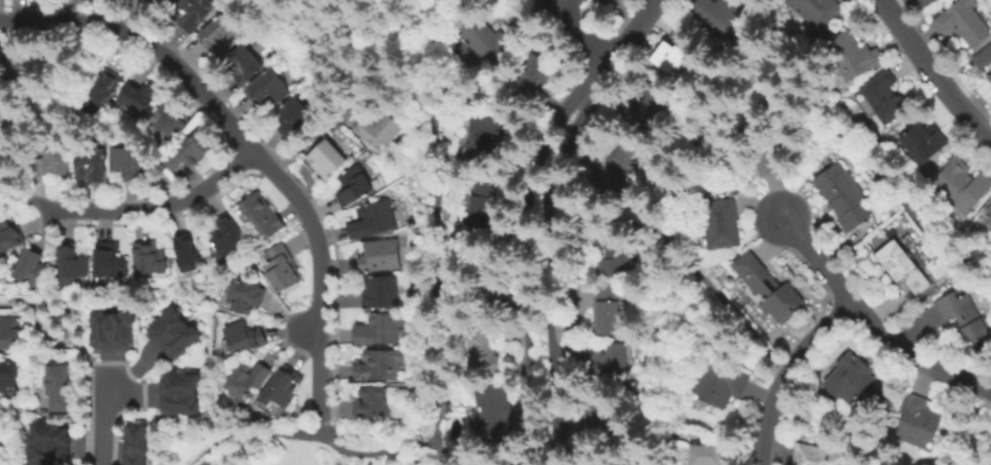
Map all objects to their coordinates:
building: (151, 1)
building: (169, 1)
building: (922, 2)
building: (816, 11)
building: (716, 12)
building: (197, 13)
building: (962, 22)
road: (579, 32)
building: (221, 34)
building: (478, 36)
building: (672, 48)
road: (615, 50)
building: (850, 56)
building: (982, 63)
building: (246, 64)
building: (19, 66)
road: (933, 71)
road: (741, 74)
building: (532, 77)
building: (270, 86)
building: (102, 91)
building: (141, 95)
building: (882, 97)
road: (349, 103)
building: (647, 104)
building: (4, 110)
building: (298, 116)
building: (168, 123)
building: (380, 129)
building: (486, 135)
building: (921, 142)
road: (250, 145)
building: (191, 152)
building: (771, 153)
building: (330, 158)
building: (130, 162)
building: (93, 163)
building: (54, 164)
building: (617, 167)
building: (356, 185)
building: (960, 186)
building: (842, 196)
road: (144, 208)
building: (483, 210)
road: (599, 214)
building: (265, 215)
building: (988, 216)
building: (375, 219)
building: (719, 222)
road: (437, 232)
building: (10, 235)
building: (231, 235)
building: (990, 244)
building: (607, 250)
building: (191, 253)
building: (382, 255)
building: (153, 258)
building: (112, 259)
building: (73, 263)
building: (283, 267)
building: (34, 268)
building: (900, 268)
road: (520, 271)
road: (544, 279)
building: (767, 287)
building: (492, 288)
building: (382, 291)
building: (249, 296)
building: (605, 307)
building: (960, 317)
road: (871, 323)
building: (117, 329)
building: (382, 329)
building: (11, 333)
building: (178, 333)
building: (247, 336)
road: (46, 342)
building: (482, 348)
building: (381, 365)
building: (607, 365)
road: (780, 371)
road: (782, 374)
building: (10, 376)
building: (847, 376)
building: (251, 378)
building: (718, 384)
building: (285, 386)
building: (61, 388)
building: (184, 393)
building: (377, 401)
road: (27, 408)
building: (488, 408)
road: (103, 420)
building: (594, 420)
road: (835, 420)
building: (916, 420)
road: (320, 429)
road: (302, 433)
road: (227, 438)
building: (49, 444)
building: (139, 444)
road: (379, 453)
building: (703, 454)
building: (816, 454)
building: (480, 460)
building: (990, 464)

